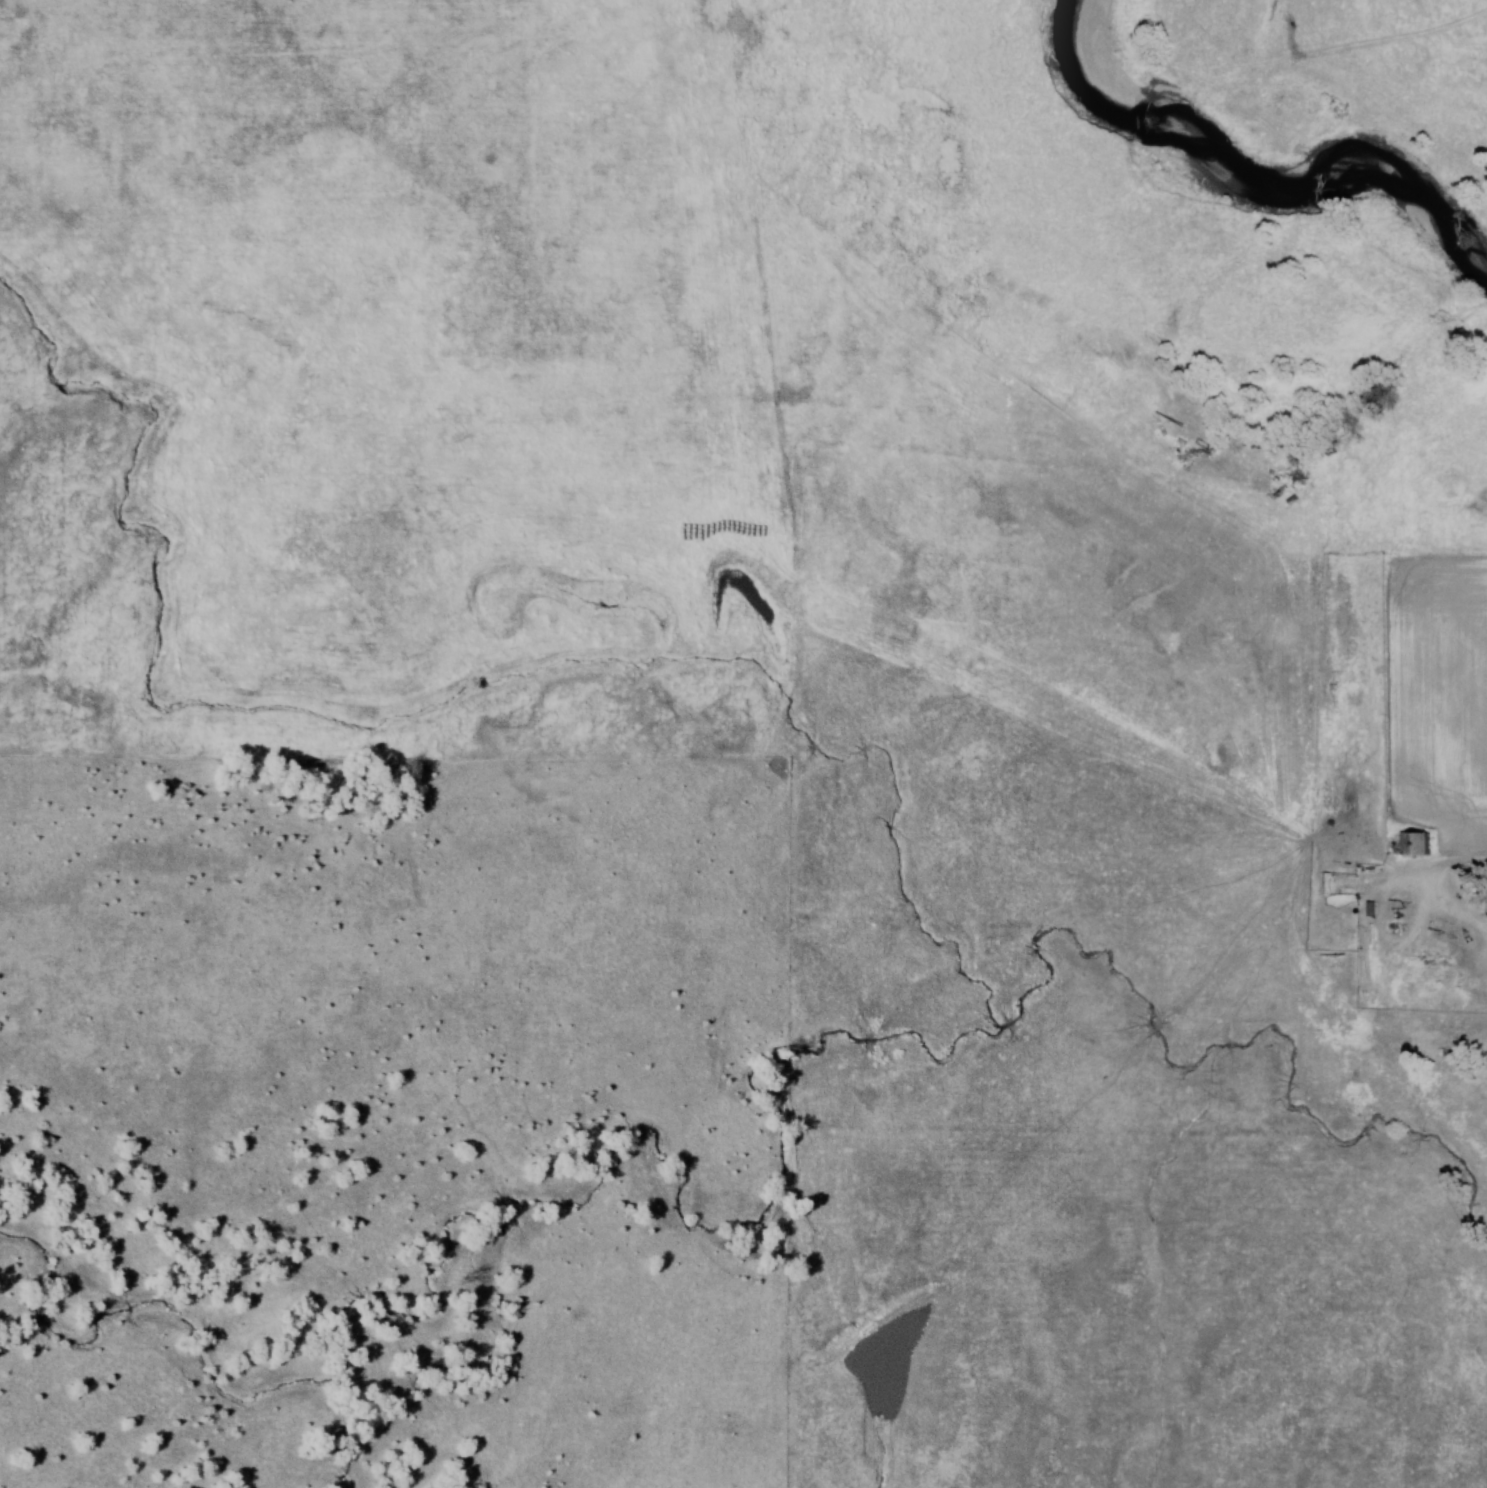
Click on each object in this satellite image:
building: (1414, 843)
road: (1451, 856)

